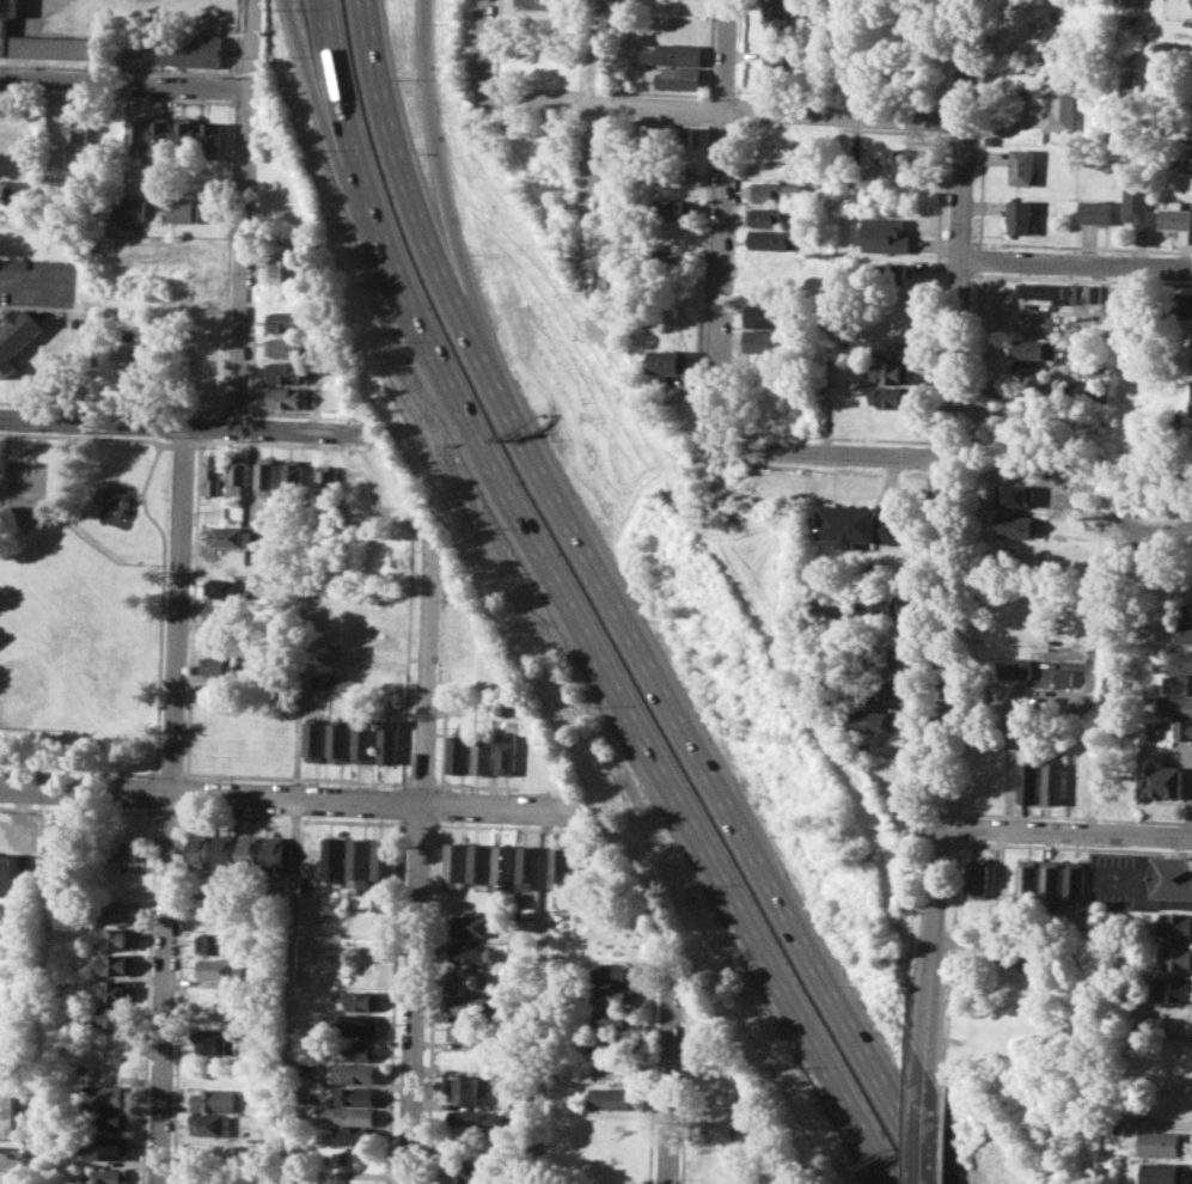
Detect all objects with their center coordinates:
building: (540, 2)
building: (775, 16)
building: (38, 42)
building: (192, 48)
road: (485, 49)
building: (674, 53)
building: (775, 65)
building: (680, 78)
road: (124, 83)
building: (1132, 83)
road: (314, 91)
building: (4, 104)
building: (1060, 104)
road: (611, 105)
road: (845, 116)
building: (78, 129)
building: (137, 134)
building: (187, 134)
building: (161, 135)
building: (671, 135)
building: (212, 140)
road: (436, 157)
building: (901, 158)
building: (1191, 159)
building: (1022, 165)
building: (672, 170)
building: (73, 175)
road: (598, 188)
building: (5, 190)
building: (775, 190)
building: (1137, 201)
building: (133, 208)
building: (184, 208)
building: (673, 210)
building: (1096, 210)
road: (246, 213)
building: (1020, 215)
building: (1176, 215)
building: (765, 216)
road: (722, 224)
building: (672, 234)
building: (885, 234)
building: (774, 238)
building: (672, 260)
road: (1075, 263)
building: (287, 268)
building: (887, 273)
building: (1038, 289)
building: (1084, 293)
building: (1181, 305)
building: (769, 316)
building: (286, 321)
building: (17, 336)
building: (768, 341)
building: (893, 346)
building: (288, 347)
building: (1034, 348)
building: (120, 353)
building: (668, 361)
building: (285, 371)
building: (893, 371)
building: (1099, 374)
building: (286, 396)
building: (893, 396)
building: (1191, 409)
road: (177, 425)
road: (837, 454)
building: (213, 474)
building: (267, 474)
building: (240, 475)
building: (294, 475)
building: (326, 477)
building: (1014, 494)
building: (858, 524)
building: (1017, 525)
road: (948, 531)
building: (231, 536)
building: (383, 543)
building: (230, 561)
building: (381, 568)
building: (230, 586)
park: (85, 600)
building: (878, 603)
road: (574, 604)
road: (618, 605)
building: (226, 612)
building: (1184, 612)
building: (1182, 634)
building: (225, 639)
building: (878, 657)
building: (368, 659)
building: (1184, 660)
building: (222, 665)
building: (1017, 667)
park: (57, 673)
building: (1064, 677)
building: (344, 683)
building: (1182, 683)
building: (876, 686)
building: (1112, 700)
building: (1180, 704)
building: (495, 706)
building: (874, 720)
building: (1181, 728)
building: (316, 739)
building: (390, 740)
building: (340, 741)
building: (365, 743)
building: (458, 753)
building: (509, 753)
building: (483, 755)
building: (1107, 780)
building: (1029, 781)
building: (1167, 781)
building: (1056, 782)
building: (1078, 782)
road: (288, 797)
road: (172, 804)
road: (1065, 831)
building: (61, 838)
building: (118, 849)
building: (198, 849)
building: (224, 853)
building: (249, 854)
building: (274, 854)
road: (294, 858)
building: (385, 858)
building: (335, 859)
road: (418, 861)
building: (360, 862)
building: (481, 862)
building: (456, 865)
building: (506, 865)
building: (532, 866)
building: (564, 866)
building: (10, 874)
building: (979, 875)
building: (1028, 877)
building: (1176, 877)
building: (1052, 878)
building: (1076, 879)
parking lot: (1125, 880)
building: (201, 890)
road: (1148, 903)
building: (115, 910)
building: (215, 917)
building: (563, 921)
building: (1175, 923)
building: (473, 924)
building: (116, 938)
building: (218, 942)
building: (1025, 951)
building: (471, 953)
building: (1178, 957)
building: (114, 963)
building: (220, 968)
building: (617, 971)
building: (471, 979)
building: (117, 989)
building: (1173, 989)
building: (617, 995)
building: (362, 1001)
building: (470, 1005)
building: (114, 1015)
building: (615, 1019)
building: (360, 1024)
building: (470, 1031)
building: (215, 1040)
building: (615, 1044)
building: (360, 1050)
building: (355, 1072)
road: (668, 1076)
building: (466, 1088)
building: (111, 1094)
building: (354, 1095)
building: (611, 1097)
building: (214, 1099)
building: (1178, 1106)
building: (352, 1113)
building: (112, 1118)
building: (470, 1119)
road: (928, 1123)
building: (209, 1125)
building: (1115, 1128)
building: (723, 1129)
building: (11, 1136)
building: (356, 1136)
building: (1163, 1142)
building: (106, 1148)
building: (469, 1170)
building: (1165, 1172)
building: (105, 1176)
building: (356, 1182)

